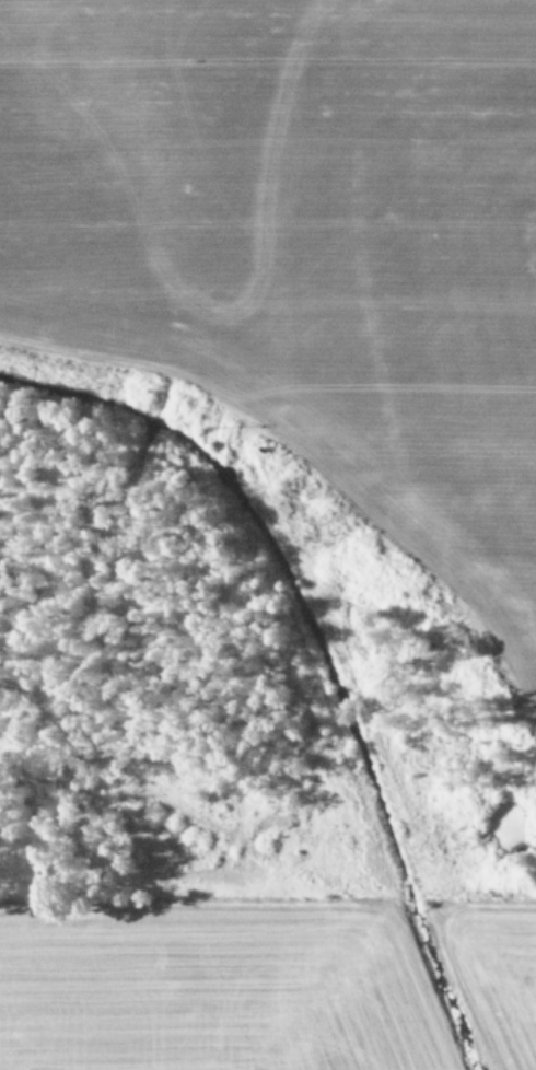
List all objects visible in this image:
crop: (268, 535)

